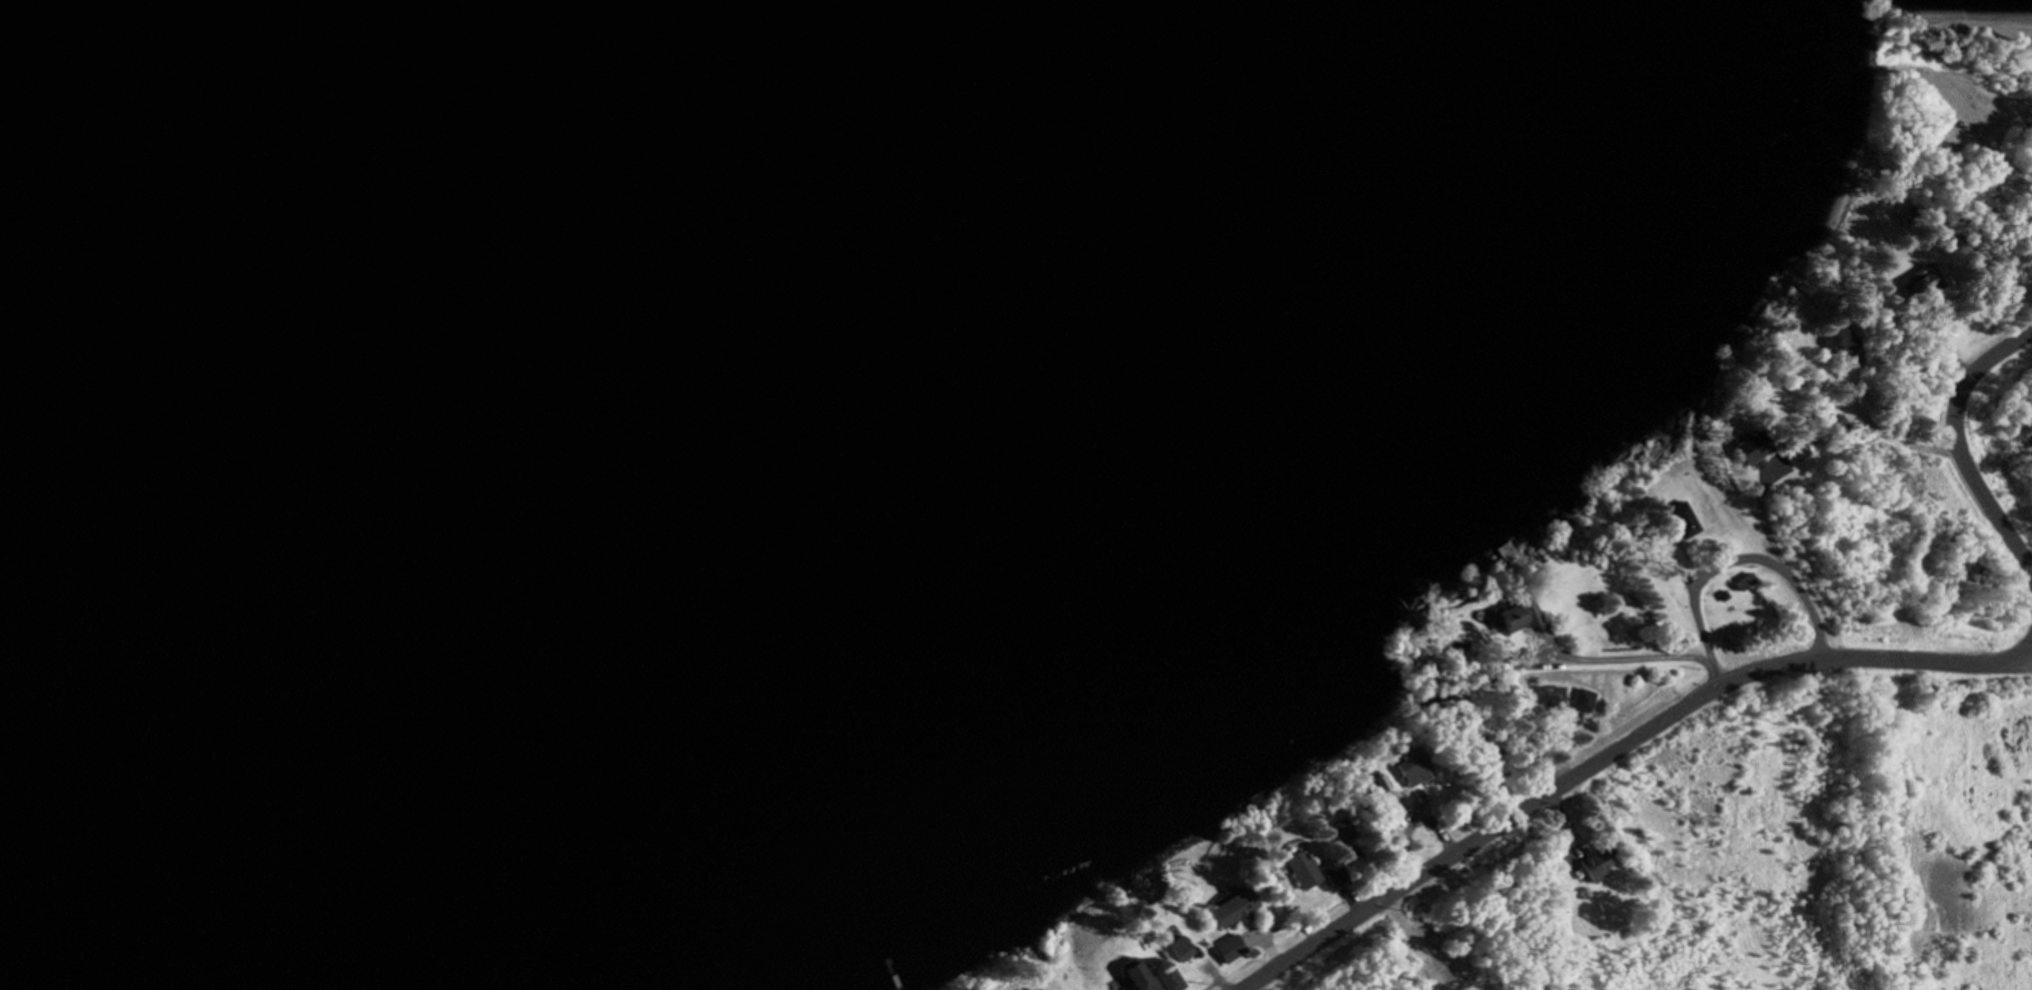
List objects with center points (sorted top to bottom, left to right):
building: (1907, 212)
building: (1918, 282)
building: (1836, 339)
road: (1989, 357)
building: (1839, 424)
building: (1750, 447)
building: (1795, 452)
road: (1980, 491)
building: (1682, 518)
building: (1509, 550)
building: (1743, 580)
building: (1519, 615)
road: (2028, 647)
road: (2028, 653)
building: (1520, 660)
building: (1550, 695)
building: (1583, 699)
road: (1610, 753)
building: (1411, 767)
building: (1381, 781)
building: (1341, 830)
building: (1597, 864)
building: (1301, 868)
building: (1333, 871)
building: (1559, 884)
building: (1235, 903)
building: (1179, 946)
building: (1229, 947)
building: (1150, 977)

